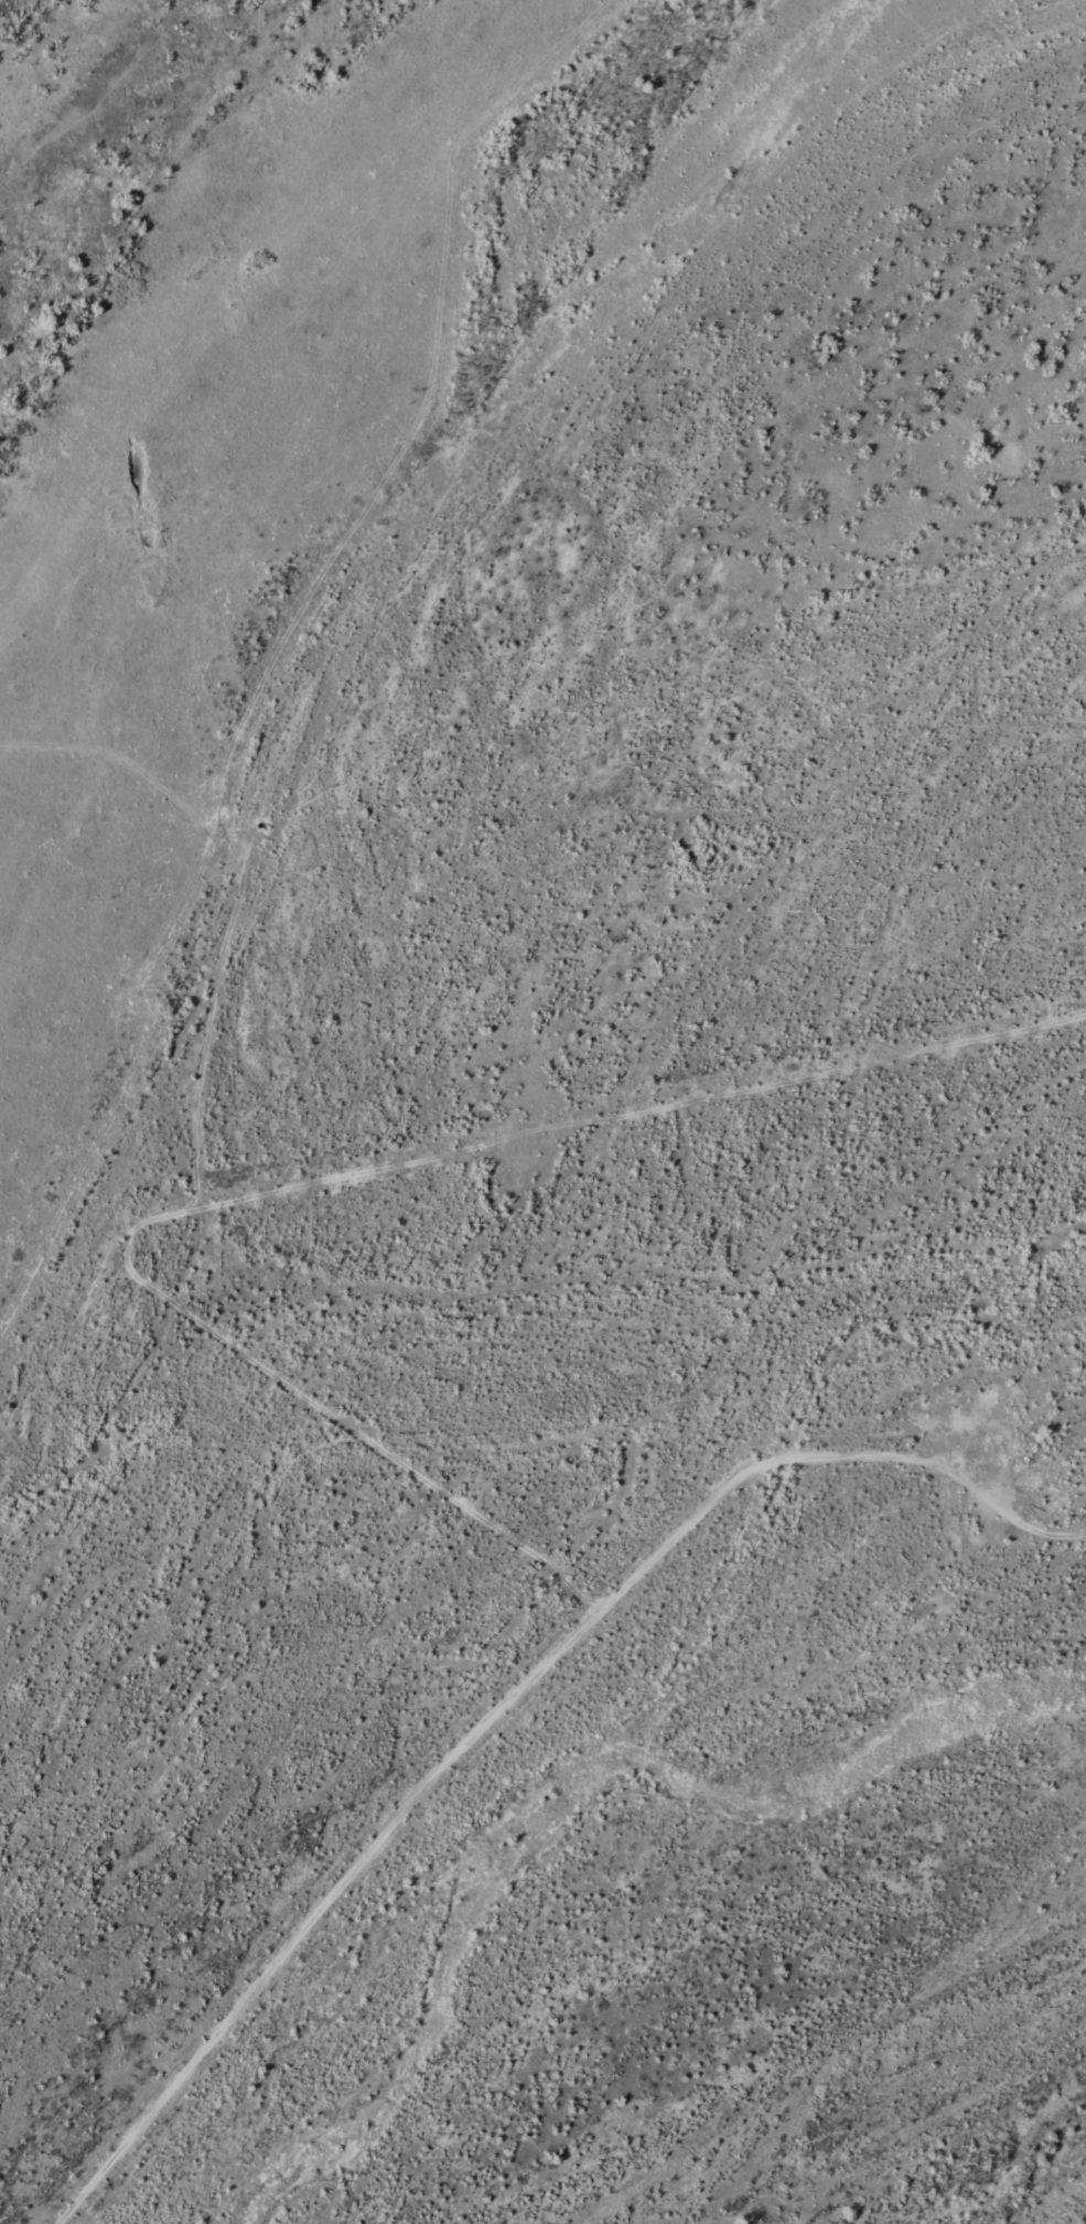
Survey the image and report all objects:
river: (574, 1797)

